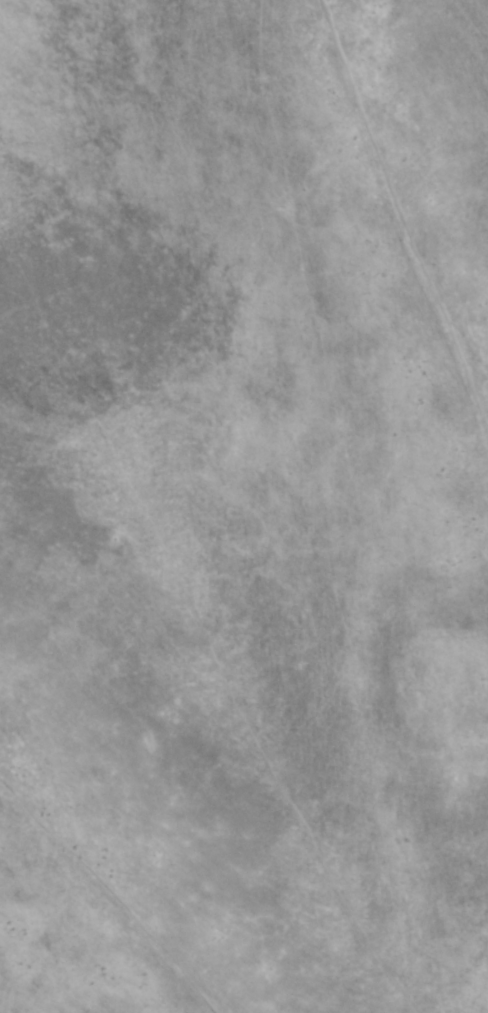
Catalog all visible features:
road: (106, 902)

